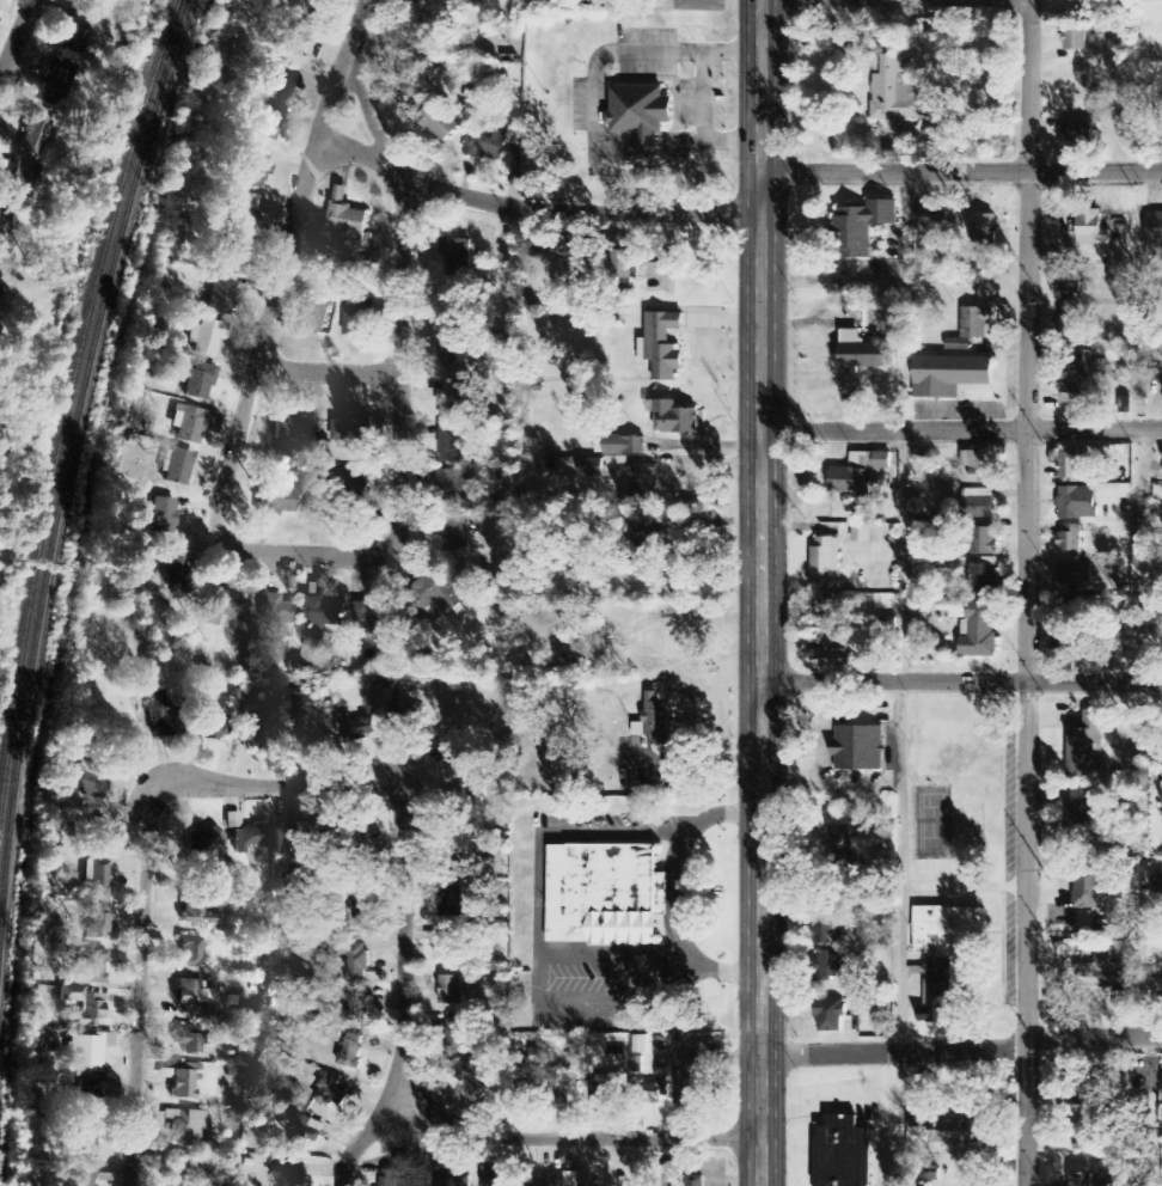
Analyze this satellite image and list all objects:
building: (429, 13)
building: (299, 27)
building: (77, 33)
building: (1074, 38)
road: (17, 45)
road: (340, 67)
building: (415, 69)
building: (281, 79)
building: (56, 84)
building: (894, 91)
road: (365, 102)
building: (640, 115)
building: (267, 121)
building: (439, 121)
building: (1080, 132)
building: (33, 134)
building: (485, 146)
building: (253, 170)
road: (961, 172)
building: (24, 178)
building: (241, 208)
road: (530, 212)
building: (347, 216)
building: (934, 218)
building: (6, 227)
building: (862, 227)
building: (1154, 228)
building: (1091, 230)
building: (984, 232)
building: (457, 257)
building: (1071, 282)
building: (221, 296)
building: (314, 316)
building: (357, 316)
building: (1075, 325)
building: (971, 328)
building: (206, 336)
building: (661, 347)
building: (860, 353)
building: (1077, 361)
road: (328, 373)
building: (949, 375)
building: (200, 381)
building: (1076, 397)
building: (452, 401)
railway: (67, 405)
building: (674, 418)
building: (192, 424)
building: (290, 428)
building: (351, 429)
road: (962, 433)
building: (453, 445)
building: (620, 446)
building: (979, 465)
building: (176, 467)
building: (591, 467)
building: (1069, 467)
railway: (65, 475)
building: (860, 476)
building: (457, 482)
building: (644, 482)
building: (354, 491)
building: (1157, 495)
building: (279, 501)
building: (977, 503)
building: (1077, 503)
building: (163, 515)
building: (455, 534)
building: (861, 534)
building: (983, 542)
building: (1071, 542)
building: (644, 545)
road: (285, 552)
building: (826, 564)
building: (177, 575)
building: (984, 576)
building: (1074, 577)
road: (763, 592)
road: (1034, 593)
building: (434, 597)
building: (1074, 607)
building: (224, 609)
building: (280, 611)
building: (325, 612)
building: (373, 618)
building: (973, 626)
building: (873, 647)
building: (830, 650)
road: (962, 679)
building: (161, 715)
building: (654, 721)
building: (209, 729)
building: (359, 730)
building: (257, 734)
building: (1087, 747)
building: (858, 748)
building: (90, 784)
road: (404, 801)
building: (1080, 815)
building: (96, 833)
building: (202, 838)
building: (250, 839)
building: (293, 840)
building: (840, 846)
building: (467, 852)
building: (96, 878)
building: (1157, 884)
building: (1087, 885)
building: (605, 895)
building: (455, 900)
building: (197, 916)
building: (357, 916)
building: (96, 922)
building: (827, 931)
building: (447, 947)
building: (190, 953)
building: (355, 961)
building: (831, 965)
building: (93, 967)
building: (949, 971)
building: (1103, 976)
building: (452, 990)
building: (194, 996)
building: (84, 1007)
building: (354, 1010)
building: (830, 1016)
road: (1095, 1033)
building: (457, 1034)
building: (189, 1040)
building: (349, 1051)
building: (86, 1052)
road: (895, 1053)
building: (636, 1065)
building: (476, 1077)
building: (183, 1083)
building: (562, 1083)
building: (698, 1084)
building: (607, 1090)
building: (655, 1092)
building: (331, 1098)
building: (82, 1099)
building: (195, 1125)
building: (306, 1131)
building: (955, 1132)
road: (369, 1135)
building: (1088, 1137)
building: (79, 1147)
building: (843, 1153)
building: (181, 1172)
building: (397, 1172)
building: (80, 1179)
building: (290, 1179)
building: (577, 1180)
building: (1085, 1180)
building: (453, 1181)
building: (544, 1181)
building: (693, 1181)
building: (499, 1182)
building: (1114, 1182)

